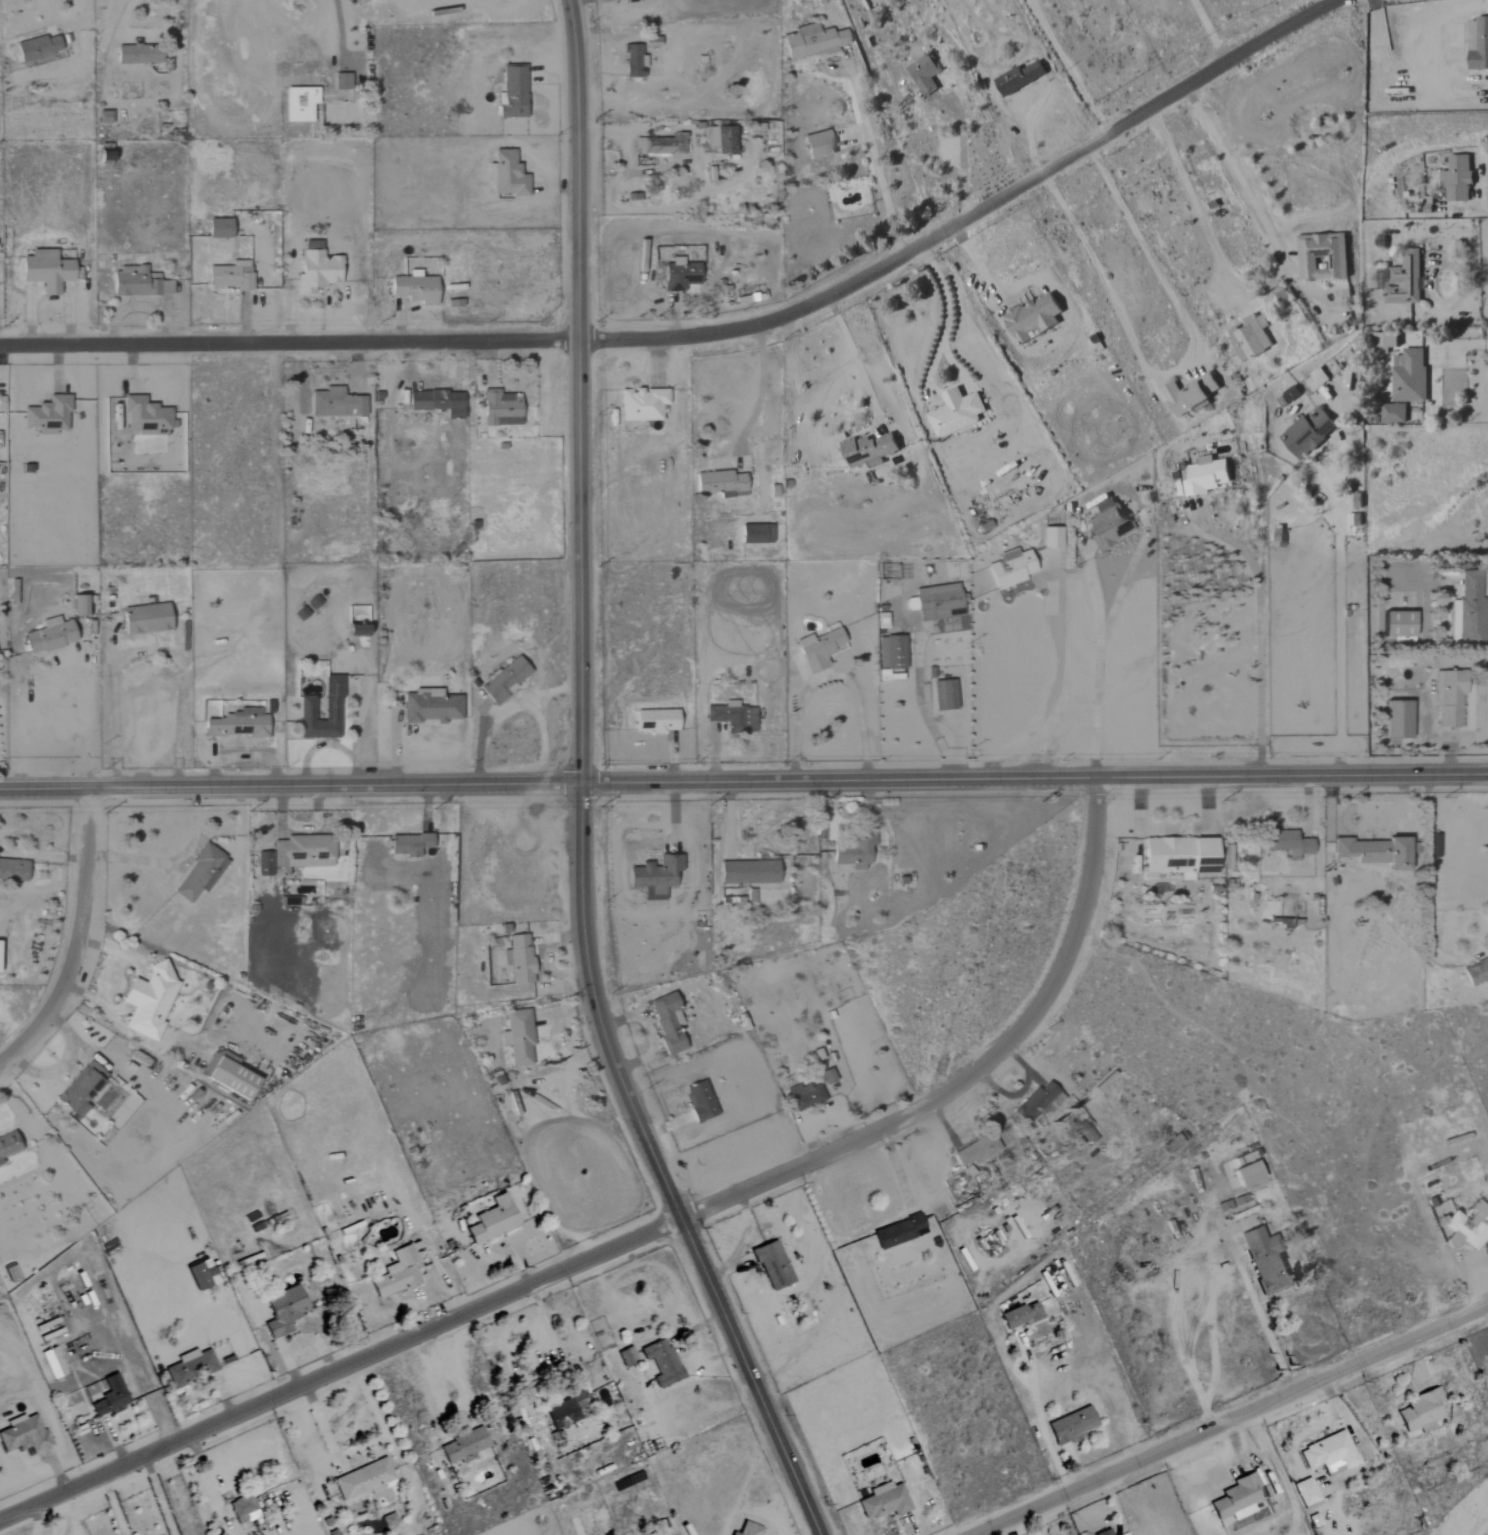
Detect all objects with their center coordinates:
building: (629, 0)
road: (338, 28)
road: (1209, 32)
road: (140, 37)
building: (813, 42)
building: (1478, 44)
building: (37, 48)
building: (139, 54)
building: (633, 62)
road: (1067, 67)
building: (924, 74)
building: (1019, 79)
building: (341, 81)
building: (513, 93)
building: (300, 104)
building: (720, 139)
building: (818, 145)
road: (960, 154)
building: (104, 155)
road: (877, 172)
building: (506, 176)
road: (1238, 179)
building: (1457, 179)
road: (1194, 206)
building: (219, 229)
building: (1323, 257)
building: (316, 268)
building: (46, 271)
building: (680, 275)
building: (230, 276)
building: (1404, 280)
road: (1484, 281)
building: (138, 283)
road: (1427, 285)
building: (414, 289)
building: (1033, 318)
road: (713, 335)
building: (1255, 337)
building: (1385, 341)
road: (1457, 343)
road: (933, 358)
road: (856, 361)
road: (1178, 371)
building: (1410, 377)
building: (1319, 378)
building: (1191, 395)
building: (1290, 395)
road: (759, 397)
building: (437, 402)
building: (335, 403)
building: (642, 404)
building: (500, 409)
building: (956, 413)
building: (48, 414)
building: (1393, 414)
building: (145, 415)
building: (1308, 435)
building: (869, 450)
building: (1205, 476)
building: (721, 483)
building: (1354, 519)
building: (1107, 525)
building: (756, 534)
building: (1278, 536)
building: (1050, 537)
road: (1432, 545)
building: (1010, 568)
building: (938, 602)
building: (80, 605)
building: (1453, 609)
building: (1471, 610)
building: (145, 619)
building: (881, 621)
road: (1336, 623)
building: (1399, 624)
building: (356, 630)
road: (1258, 634)
building: (50, 636)
building: (818, 649)
road: (144, 651)
building: (891, 652)
road: (1098, 658)
road: (828, 678)
building: (505, 680)
building: (945, 695)
road: (1053, 698)
building: (1451, 699)
road: (370, 700)
building: (430, 706)
building: (306, 708)
road: (923, 713)
building: (733, 717)
building: (1398, 719)
road: (73, 721)
building: (656, 721)
building: (235, 725)
road: (30, 751)
road: (744, 783)
road: (580, 791)
building: (1288, 844)
building: (409, 845)
building: (1375, 852)
building: (855, 854)
building: (296, 855)
building: (1180, 856)
building: (13, 869)
building: (200, 872)
building: (748, 873)
building: (655, 877)
road: (1427, 896)
road: (77, 940)
building: (518, 959)
building: (1477, 973)
building: (149, 1000)
building: (668, 1022)
building: (518, 1038)
building: (828, 1077)
building: (232, 1079)
building: (80, 1089)
building: (806, 1096)
building: (700, 1102)
building: (1038, 1103)
building: (8, 1145)
building: (976, 1151)
building: (1248, 1174)
building: (493, 1221)
building: (1468, 1227)
building: (899, 1232)
road: (642, 1236)
building: (1264, 1260)
building: (772, 1266)
building: (398, 1272)
building: (11, 1274)
building: (201, 1275)
building: (284, 1312)
building: (1022, 1316)
road: (1264, 1328)
road: (549, 1333)
building: (628, 1356)
building: (53, 1363)
building: (662, 1363)
building: (191, 1368)
road: (422, 1389)
building: (110, 1398)
building: (565, 1411)
building: (1421, 1412)
road: (1232, 1421)
building: (1071, 1426)
building: (23, 1434)
building: (463, 1447)
building: (1330, 1454)
building: (365, 1480)
building: (1307, 1494)
road: (158, 1497)
building: (1237, 1499)
building: (884, 1502)
road: (113, 1506)
building: (243, 1510)
building: (389, 1520)
building: (749, 1529)
building: (1105, 1533)

